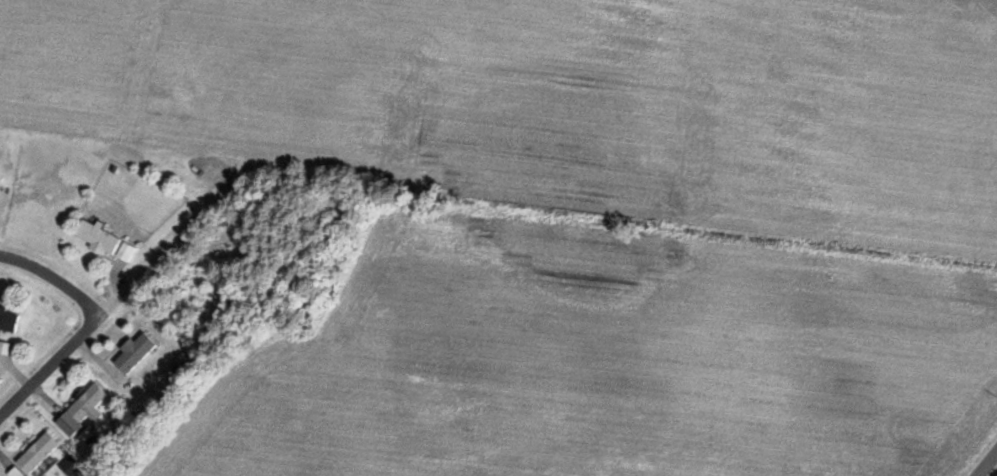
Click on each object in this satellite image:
road: (156, 52)
road: (182, 231)
building: (106, 240)
road: (54, 274)
building: (9, 320)
building: (136, 351)
building: (90, 404)
building: (39, 452)
road: (990, 466)

